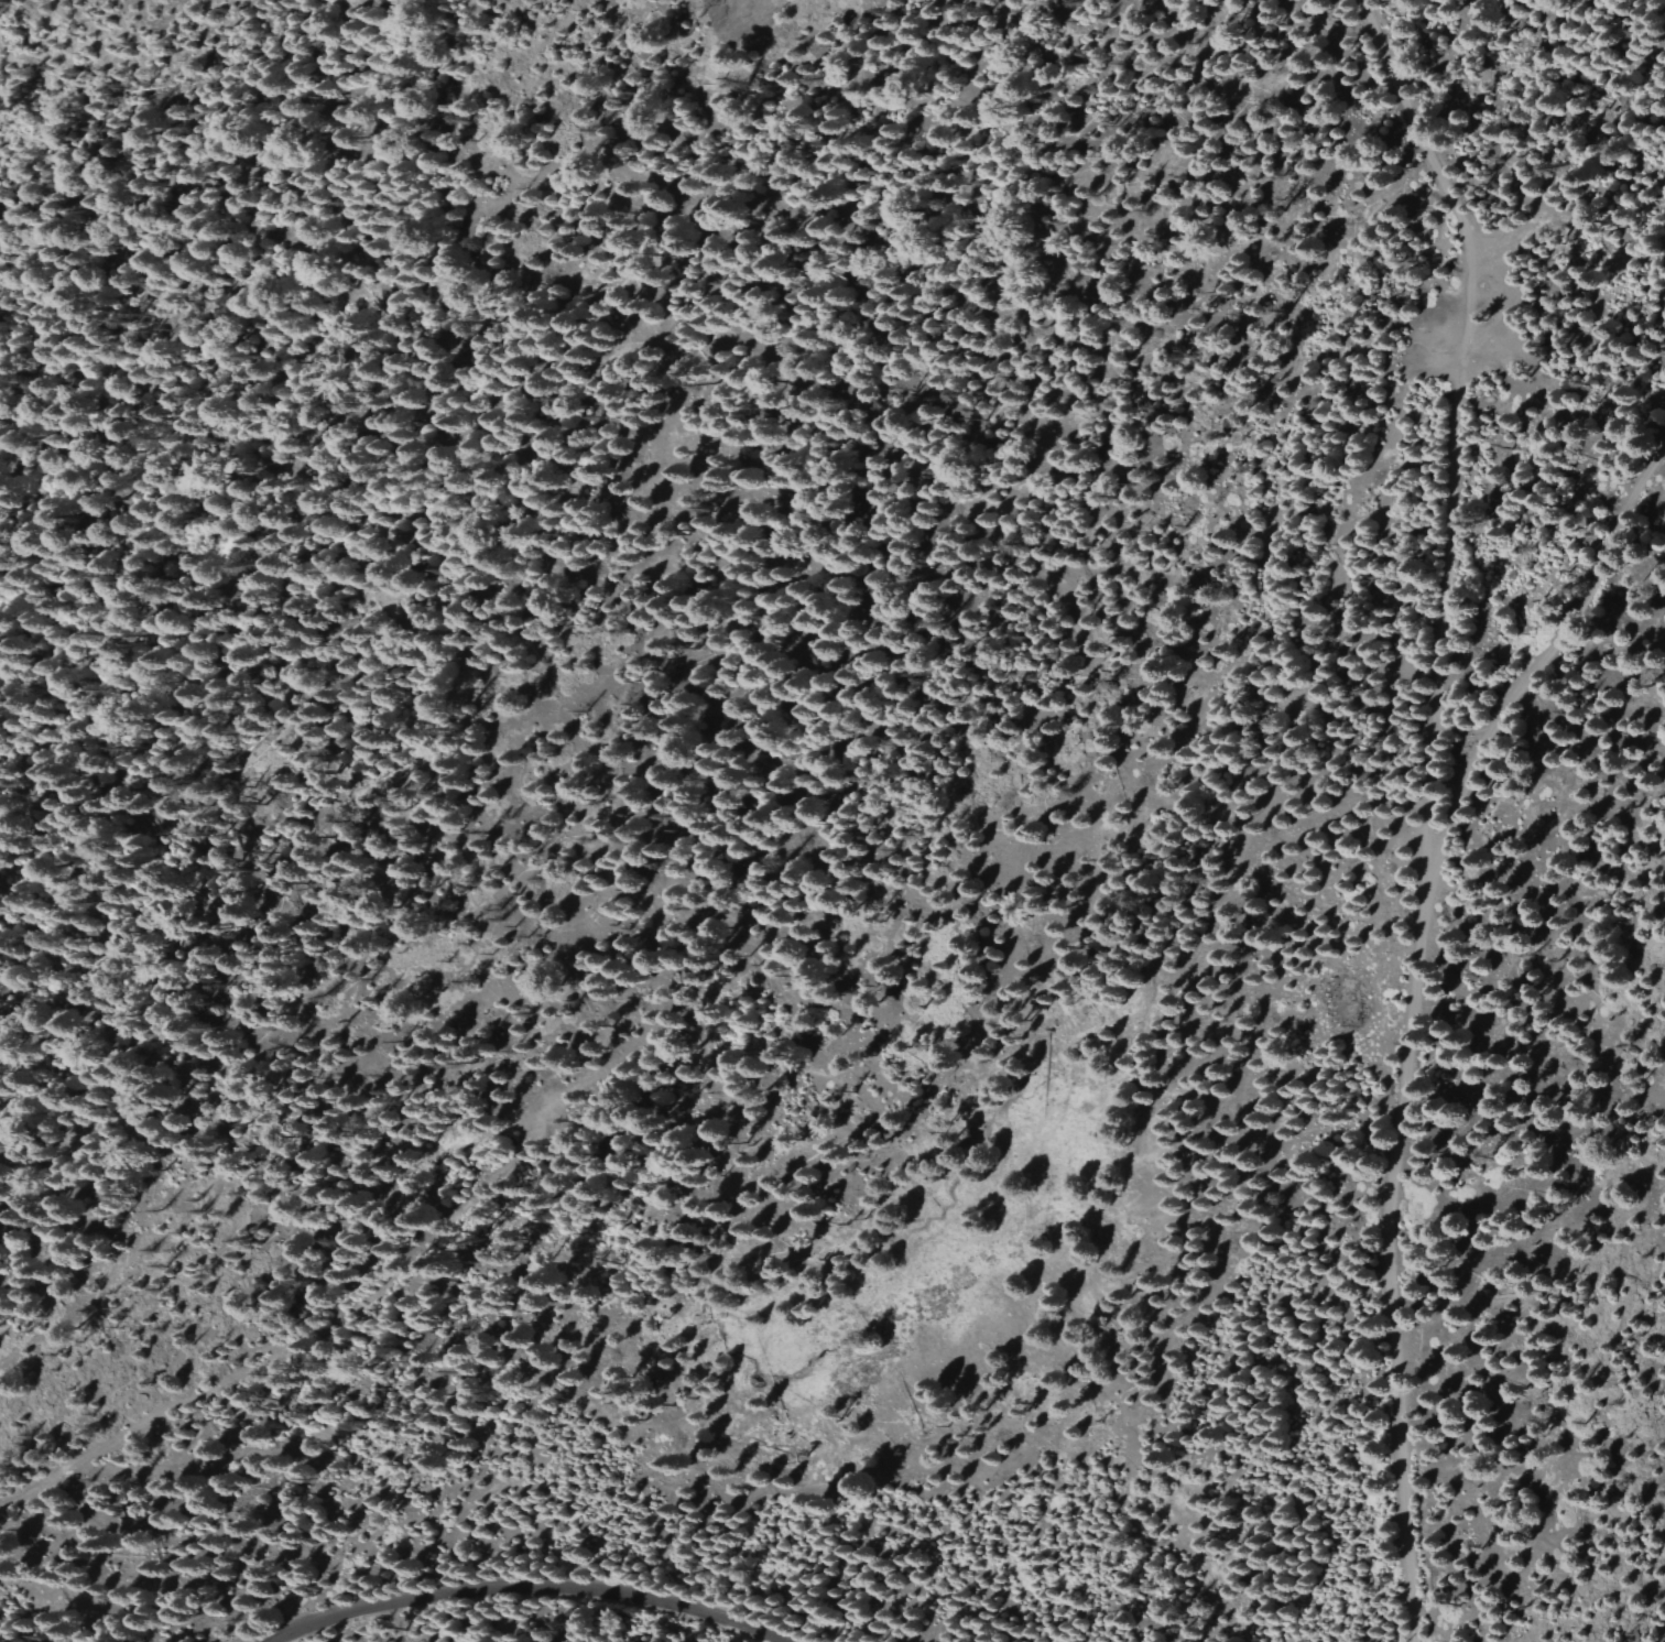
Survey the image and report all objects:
road: (1564, 607)
road: (1436, 811)
road: (146, 1436)
road: (534, 1589)

